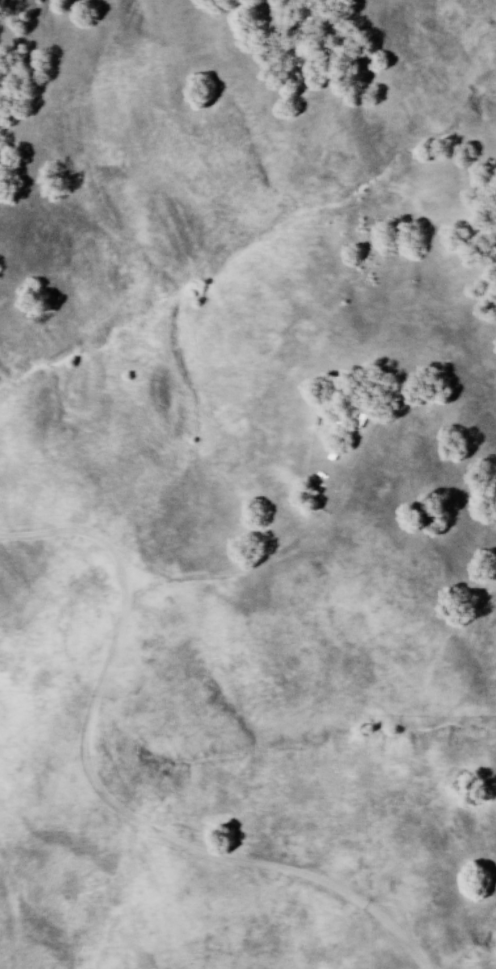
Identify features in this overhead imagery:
road: (110, 792)

